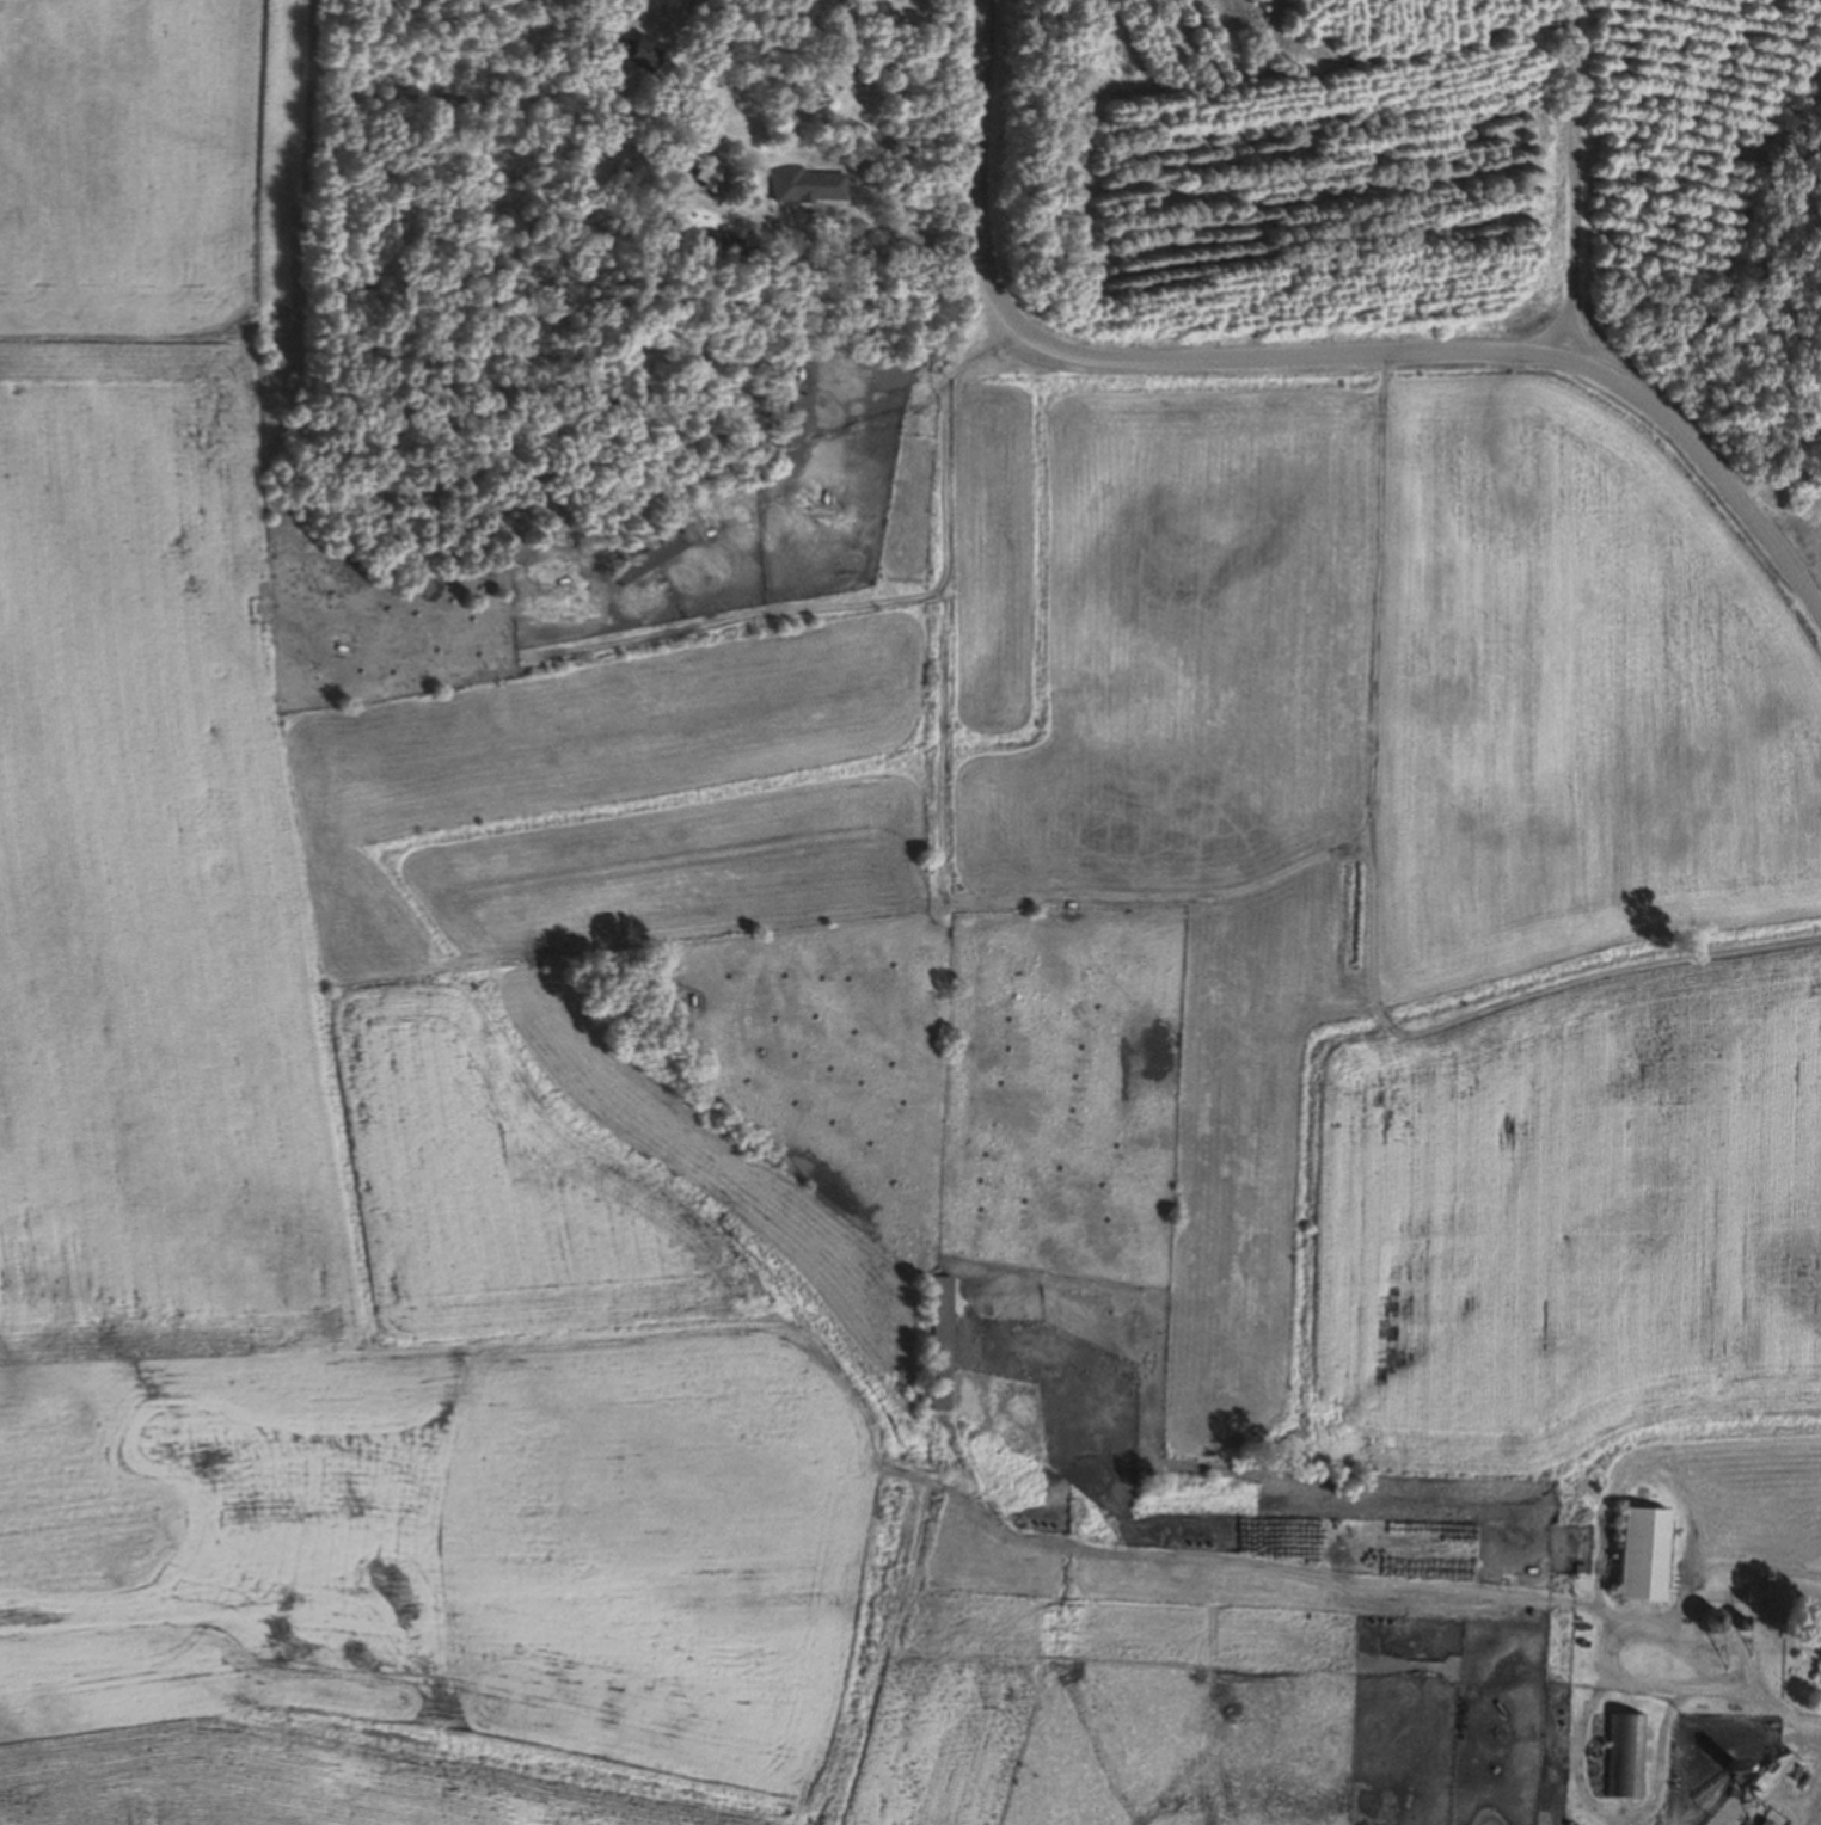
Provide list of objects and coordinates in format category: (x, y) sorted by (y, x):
building: (633, 51)
road: (985, 119)
building: (701, 177)
road: (1571, 182)
building: (723, 246)
road: (1584, 342)
road: (1428, 349)
road: (835, 365)
building: (789, 434)
road: (1778, 479)
building: (646, 557)
building: (997, 995)
building: (994, 1024)
building: (936, 1342)
building: (1635, 1553)
building: (1704, 1618)
road: (1600, 1643)
building: (1820, 1654)
road: (1780, 1716)
building: (1625, 1755)
road: (1810, 1802)

